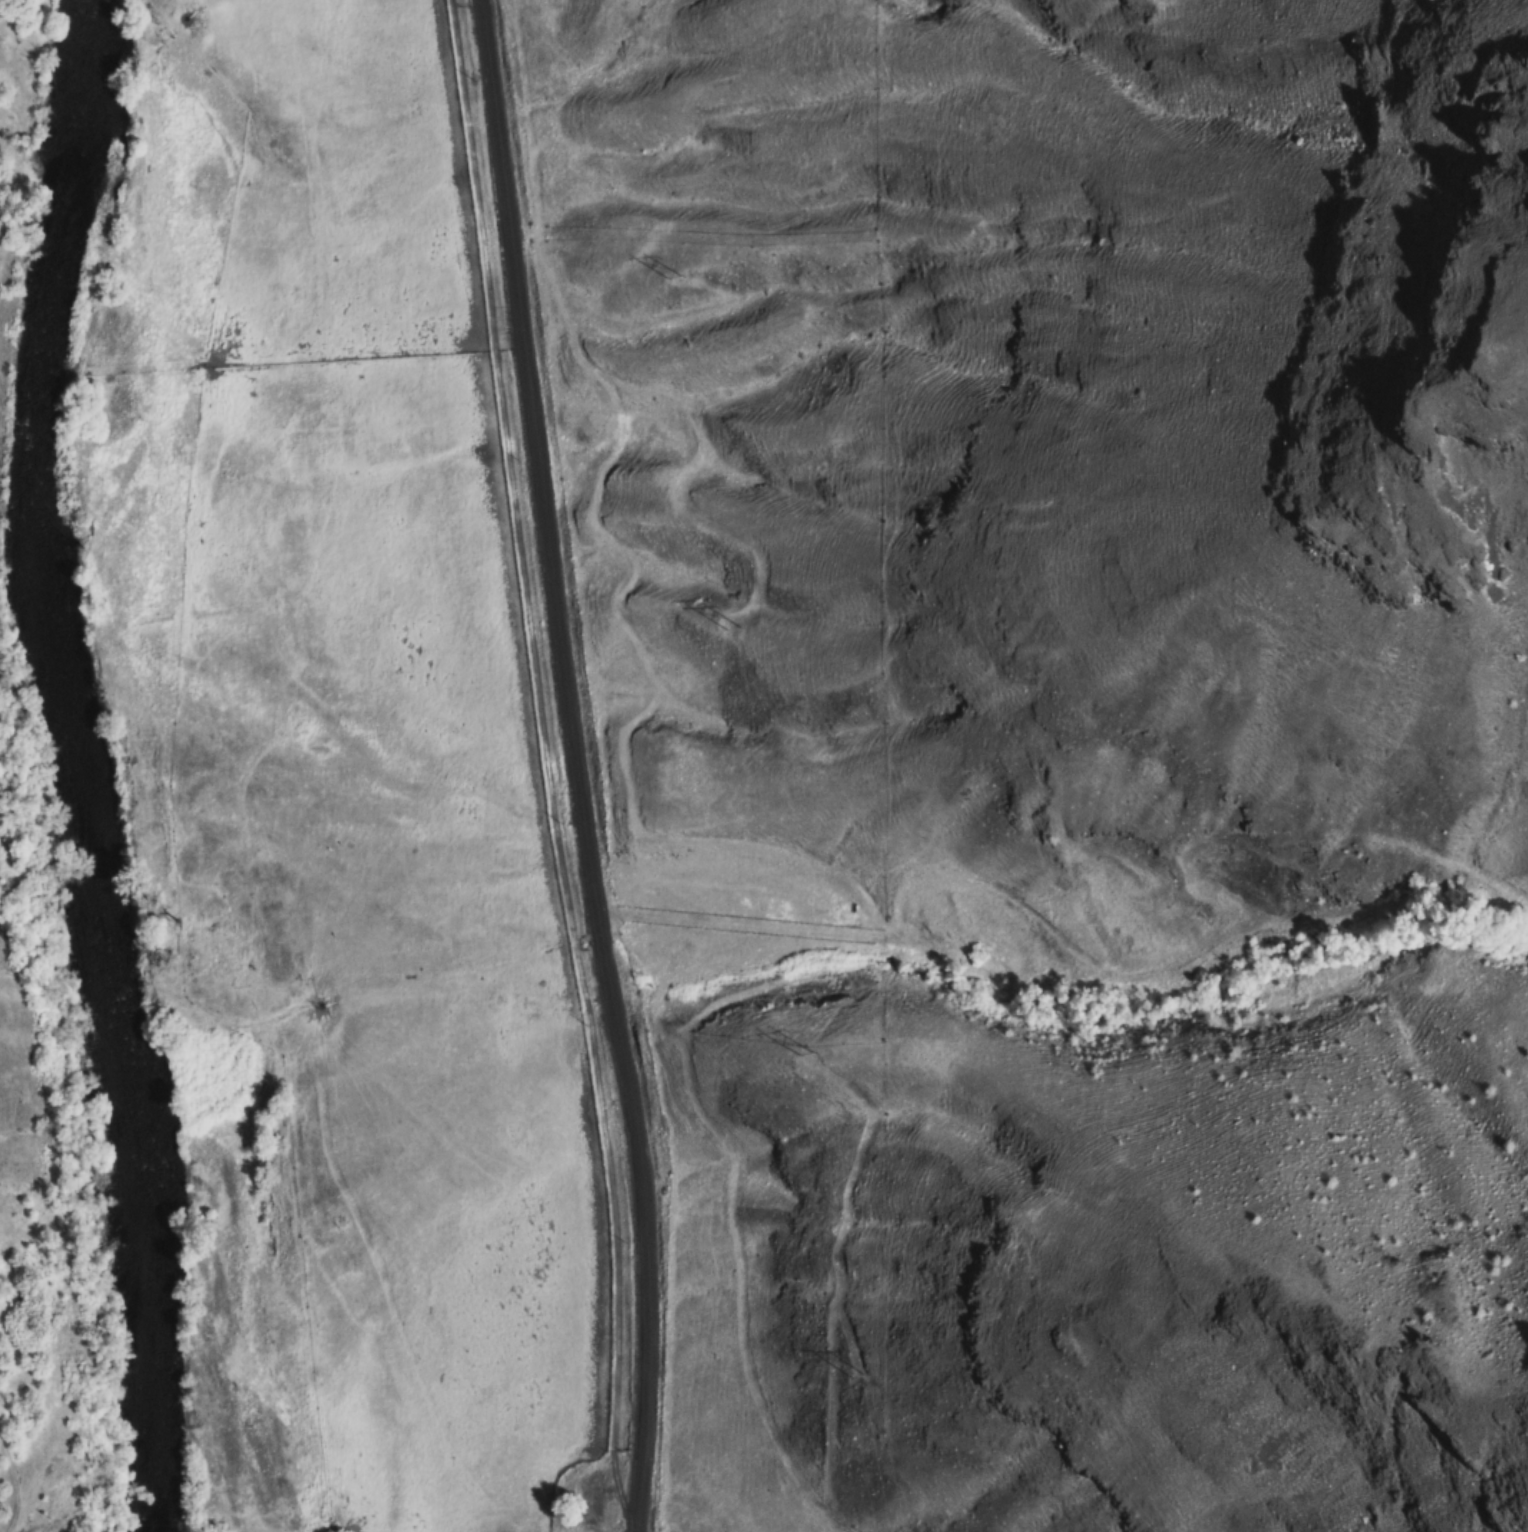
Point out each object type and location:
power tower: (670, 278)
power tower: (730, 630)
road: (573, 765)
river: (79, 766)
power tower: (798, 1053)
power tower: (854, 1376)

